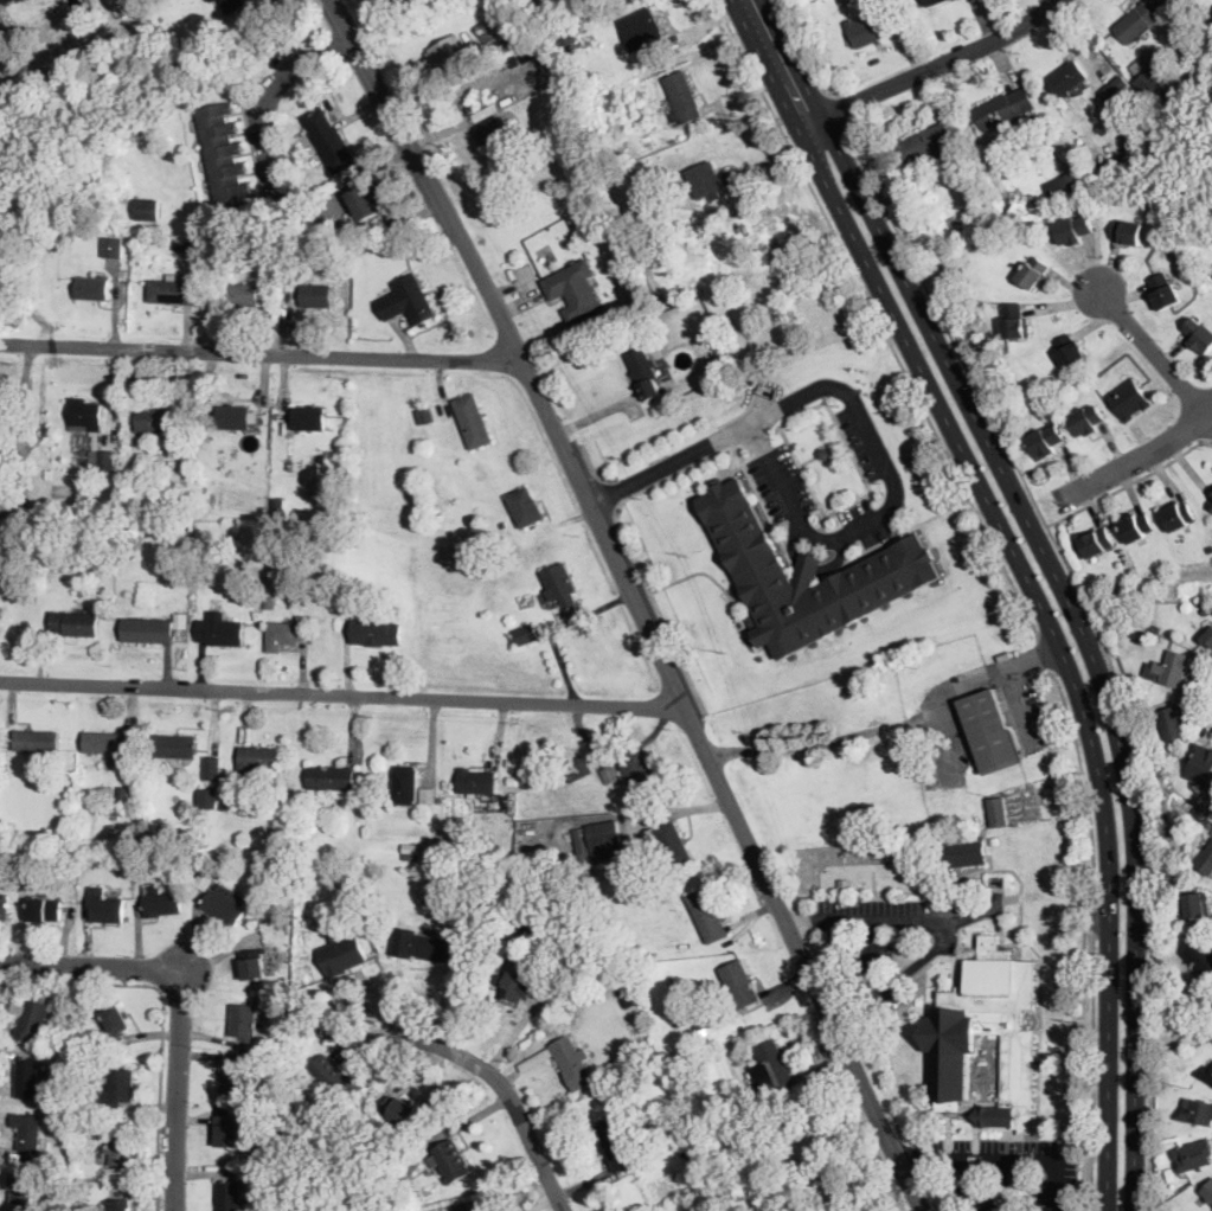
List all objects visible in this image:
building: (21, 0)
building: (212, 0)
building: (9, 1)
building: (931, 2)
building: (232, 5)
building: (1191, 13)
road: (713, 18)
building: (1135, 23)
building: (874, 25)
building: (485, 26)
building: (643, 33)
building: (1191, 37)
building: (566, 39)
building: (502, 44)
building: (447, 50)
building: (531, 51)
road: (807, 51)
road: (932, 68)
building: (1066, 79)
building: (1152, 82)
road: (752, 85)
building: (1112, 90)
road: (274, 95)
building: (682, 97)
road: (840, 107)
building: (1002, 109)
building: (1186, 115)
building: (490, 127)
building: (329, 141)
building: (925, 142)
road: (774, 154)
building: (223, 156)
building: (1097, 174)
building: (708, 180)
building: (1065, 186)
building: (1033, 200)
building: (367, 201)
building: (1095, 205)
building: (147, 209)
building: (964, 222)
building: (1075, 230)
building: (1128, 232)
building: (113, 246)
building: (373, 246)
building: (269, 252)
building: (621, 252)
building: (1211, 268)
building: (1033, 273)
building: (631, 277)
building: (92, 288)
building: (173, 290)
building: (576, 290)
building: (1163, 291)
building: (754, 294)
building: (241, 295)
building: (316, 295)
building: (408, 301)
road: (877, 318)
building: (1014, 321)
building: (751, 322)
building: (1200, 335)
building: (1070, 351)
road: (261, 354)
road: (1155, 355)
building: (713, 361)
building: (645, 373)
building: (1129, 399)
building: (84, 415)
building: (424, 415)
building: (235, 417)
road: (861, 417)
building: (153, 418)
building: (309, 418)
building: (473, 421)
building: (1086, 421)
building: (182, 436)
building: (1045, 442)
building: (177, 451)
building: (822, 451)
road: (1140, 456)
building: (101, 460)
building: (174, 463)
road: (591, 467)
parking lot: (774, 472)
road: (1129, 483)
road: (610, 493)
building: (1211, 504)
building: (278, 505)
building: (525, 507)
building: (1179, 515)
building: (473, 519)
building: (1136, 527)
building: (1096, 543)
road: (630, 550)
building: (242, 566)
building: (806, 575)
road: (1027, 577)
road: (1056, 577)
building: (562, 588)
building: (327, 600)
road: (634, 601)
building: (396, 608)
building: (180, 619)
building: (76, 623)
building: (148, 629)
building: (220, 633)
building: (376, 633)
building: (525, 633)
building: (288, 634)
building: (1207, 634)
road: (1101, 637)
building: (1143, 637)
road: (1045, 654)
building: (1169, 668)
road: (990, 671)
road: (342, 696)
road: (1019, 696)
parking lot: (1028, 712)
building: (1174, 720)
building: (990, 732)
road: (848, 736)
building: (37, 741)
parking lot: (942, 741)
building: (109, 742)
building: (174, 745)
building: (1158, 751)
building: (257, 760)
building: (1201, 765)
building: (211, 768)
building: (576, 768)
building: (637, 773)
building: (609, 774)
building: (329, 777)
building: (476, 781)
building: (404, 784)
building: (123, 794)
building: (428, 795)
building: (209, 799)
building: (225, 805)
building: (113, 810)
building: (999, 810)
building: (1200, 810)
building: (1208, 825)
building: (9, 826)
building: (486, 839)
building: (599, 840)
building: (995, 841)
building: (671, 844)
building: (230, 851)
building: (411, 852)
building: (967, 852)
building: (335, 856)
building: (1206, 861)
building: (282, 874)
building: (288, 879)
building: (204, 880)
building: (340, 884)
building: (931, 884)
building: (845, 885)
building: (1172, 885)
building: (159, 901)
building: (225, 904)
building: (1195, 904)
building: (104, 905)
building: (4, 908)
building: (45, 909)
building: (707, 915)
road: (886, 920)
road: (806, 921)
building: (281, 922)
parking lot: (879, 922)
building: (280, 933)
road: (1094, 938)
building: (425, 946)
building: (342, 955)
building: (1201, 956)
road: (873, 961)
building: (254, 965)
road: (916, 965)
building: (739, 985)
building: (514, 986)
building: (622, 989)
road: (181, 999)
parking lot: (883, 999)
road: (854, 1015)
road: (163, 1019)
building: (34, 1020)
building: (116, 1020)
building: (243, 1021)
building: (708, 1024)
building: (275, 1026)
building: (66, 1038)
building: (951, 1043)
building: (89, 1049)
building: (255, 1063)
building: (572, 1063)
building: (771, 1066)
building: (1206, 1074)
building: (28, 1078)
building: (335, 1079)
building: (231, 1081)
building: (117, 1088)
building: (62, 1095)
road: (508, 1096)
building: (400, 1110)
building: (1198, 1113)
building: (722, 1114)
building: (65, 1115)
building: (227, 1132)
building: (27, 1133)
building: (120, 1146)
building: (618, 1147)
building: (1195, 1155)
building: (692, 1159)
building: (450, 1160)
road: (929, 1160)
road: (1003, 1161)
parking lot: (1005, 1170)
building: (277, 1177)
building: (694, 1178)
building: (402, 1179)
building: (59, 1186)
building: (21, 1187)
building: (429, 1188)
building: (117, 1192)
building: (1208, 1192)
building: (229, 1196)
building: (690, 1199)
building: (716, 1202)
building: (117, 1205)
building: (12, 1207)
building: (463, 1209)

